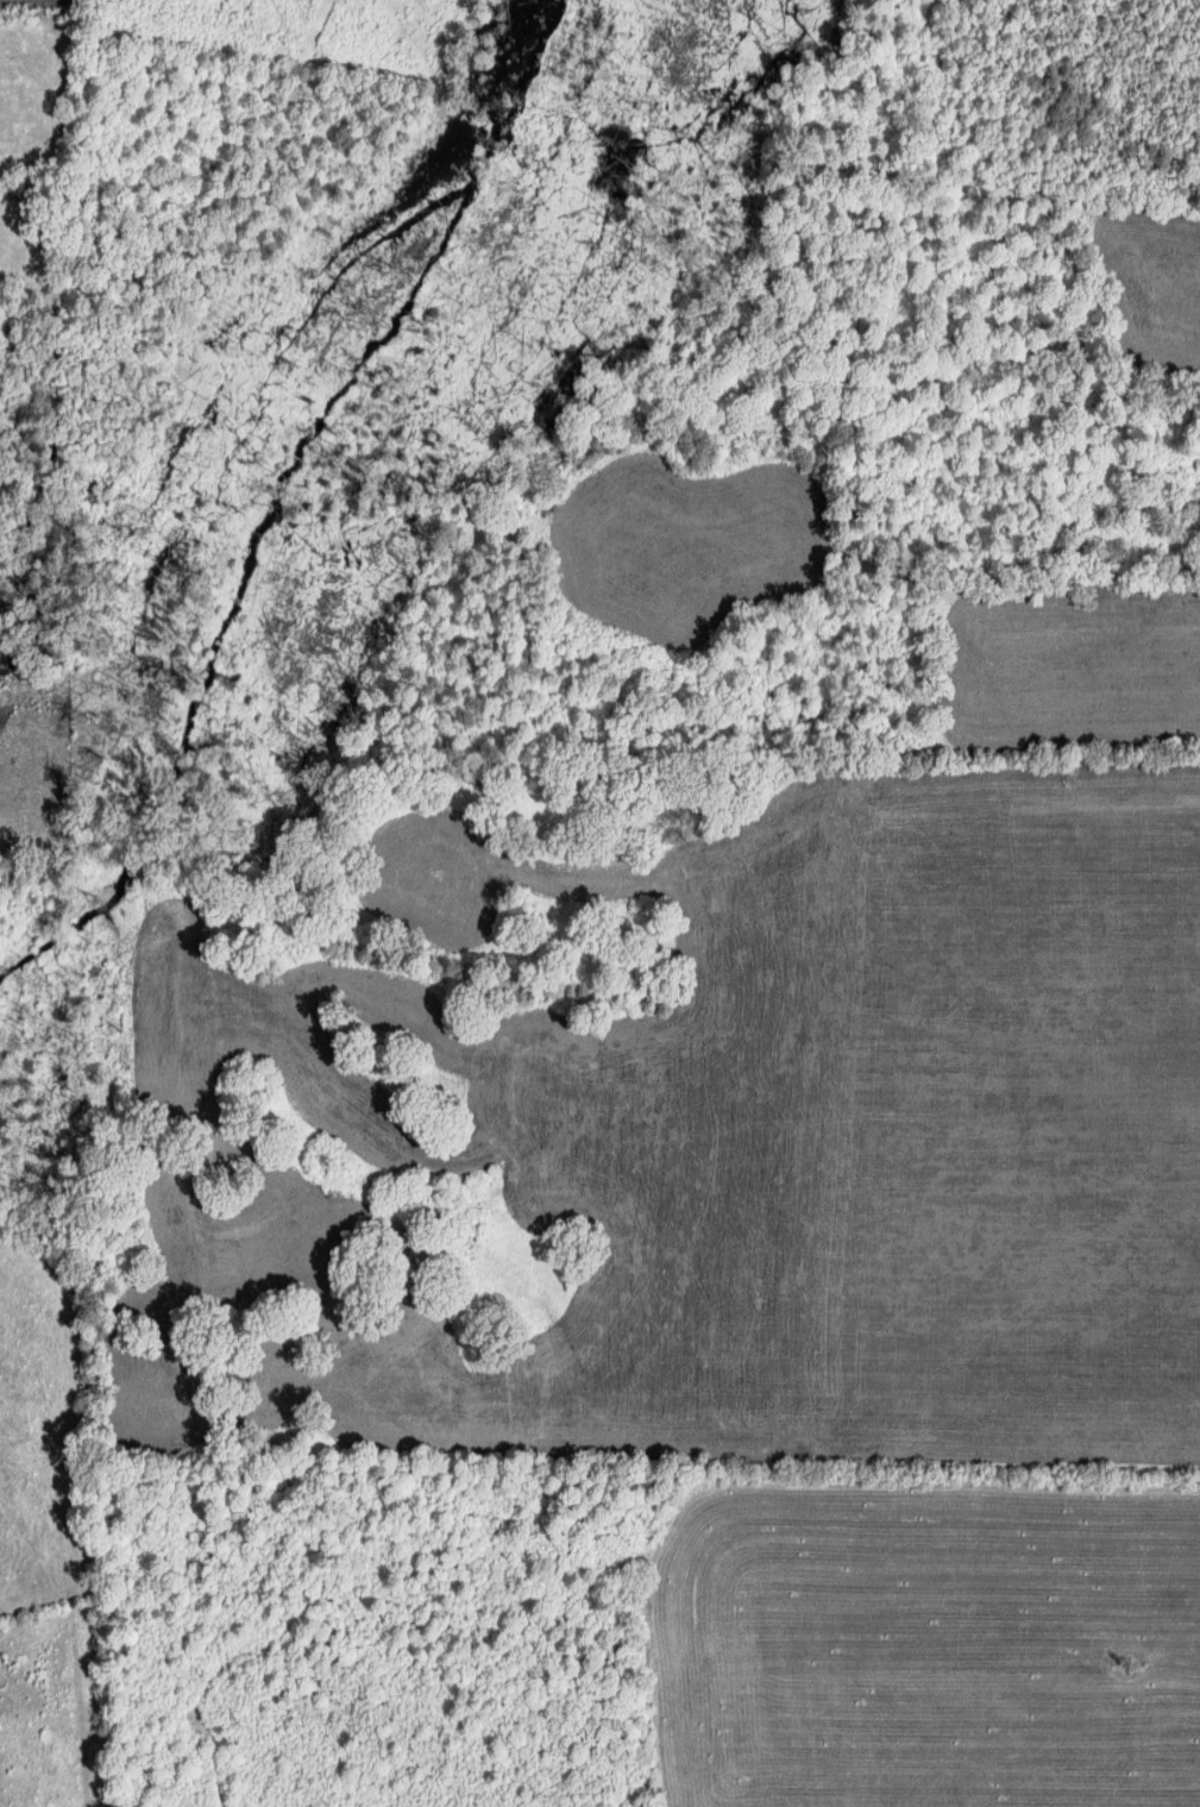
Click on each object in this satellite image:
power tower: (1133, 1663)

